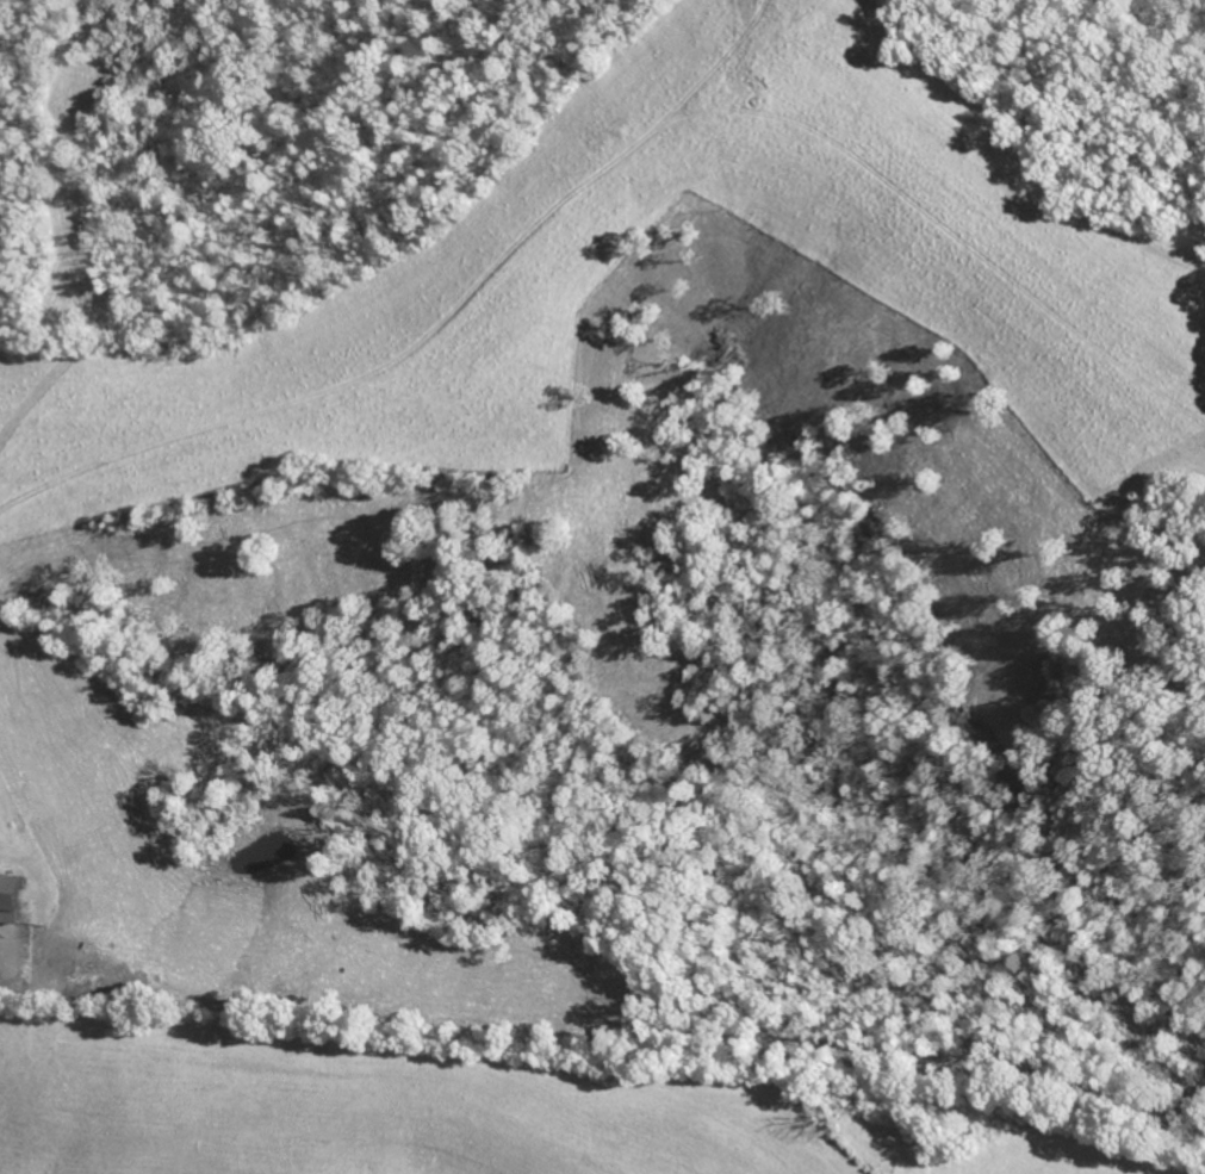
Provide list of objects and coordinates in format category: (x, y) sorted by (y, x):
building: (12, 893)

